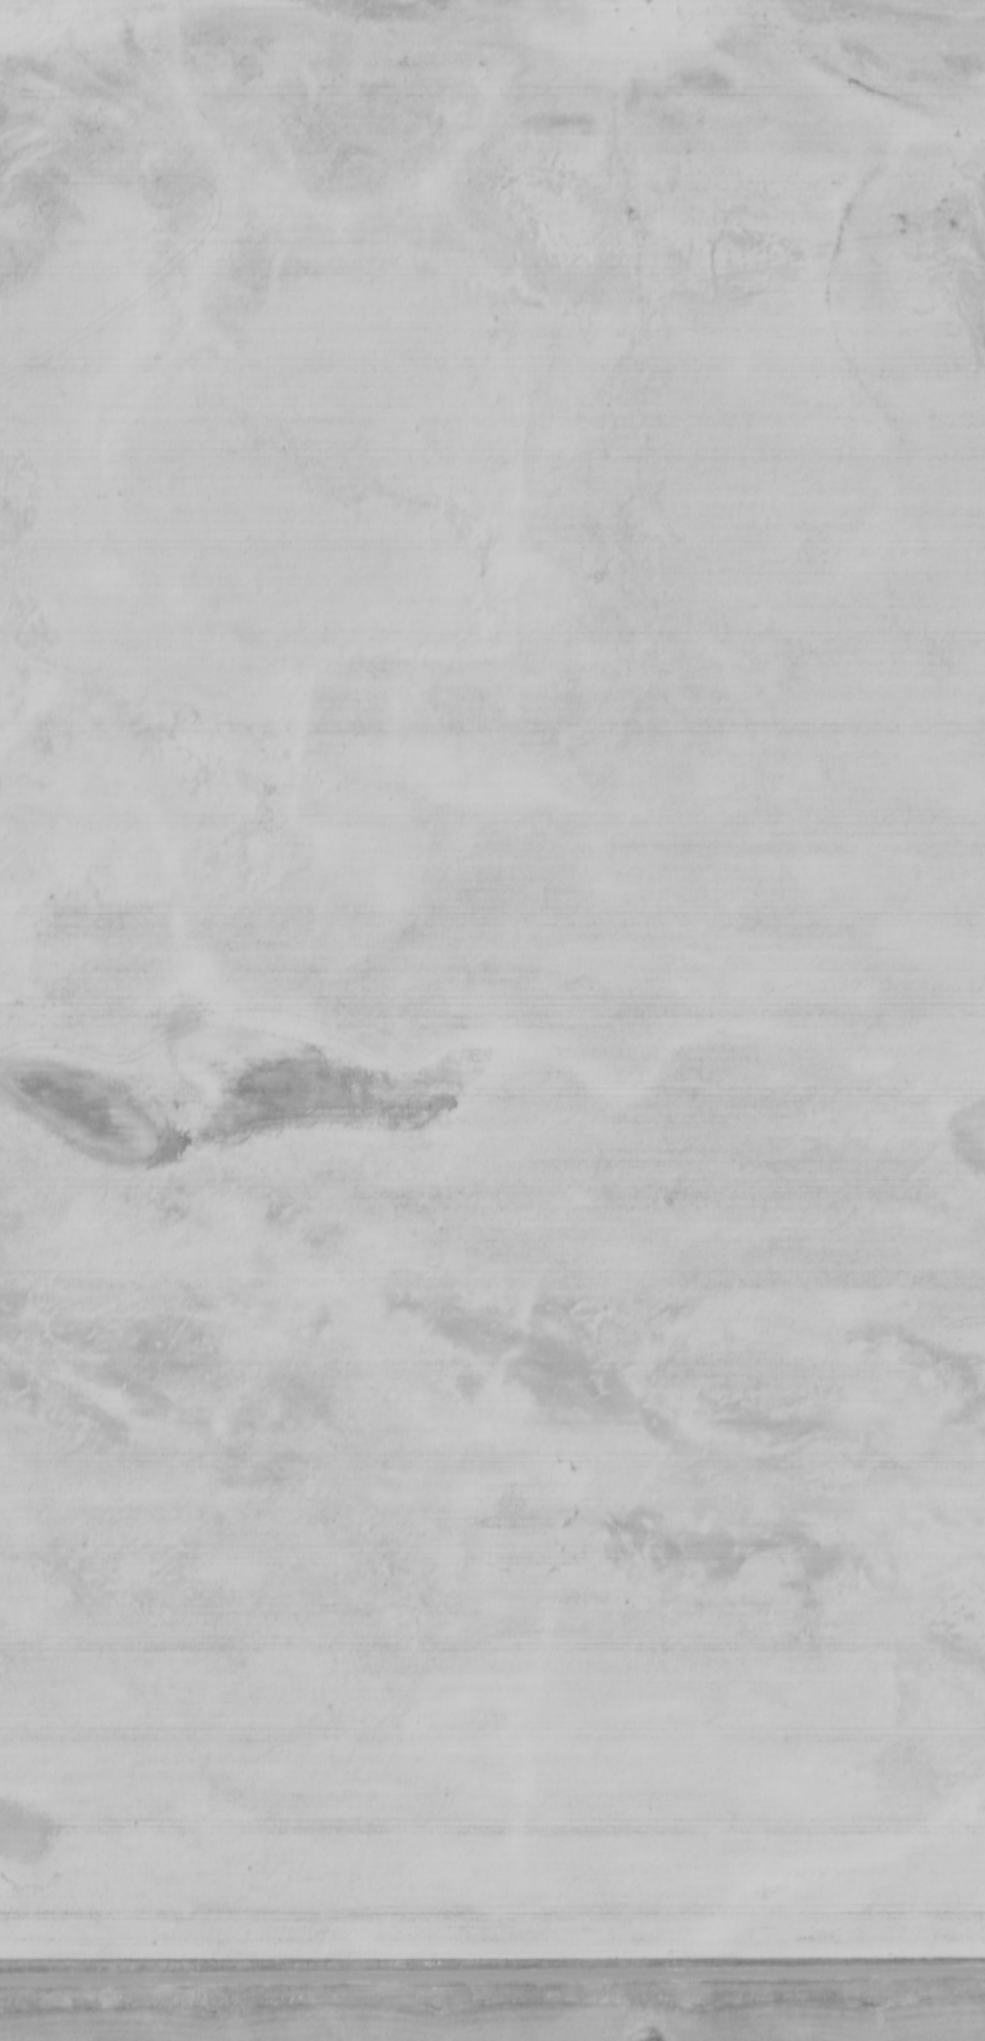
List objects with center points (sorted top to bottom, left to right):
road: (492, 1971)

